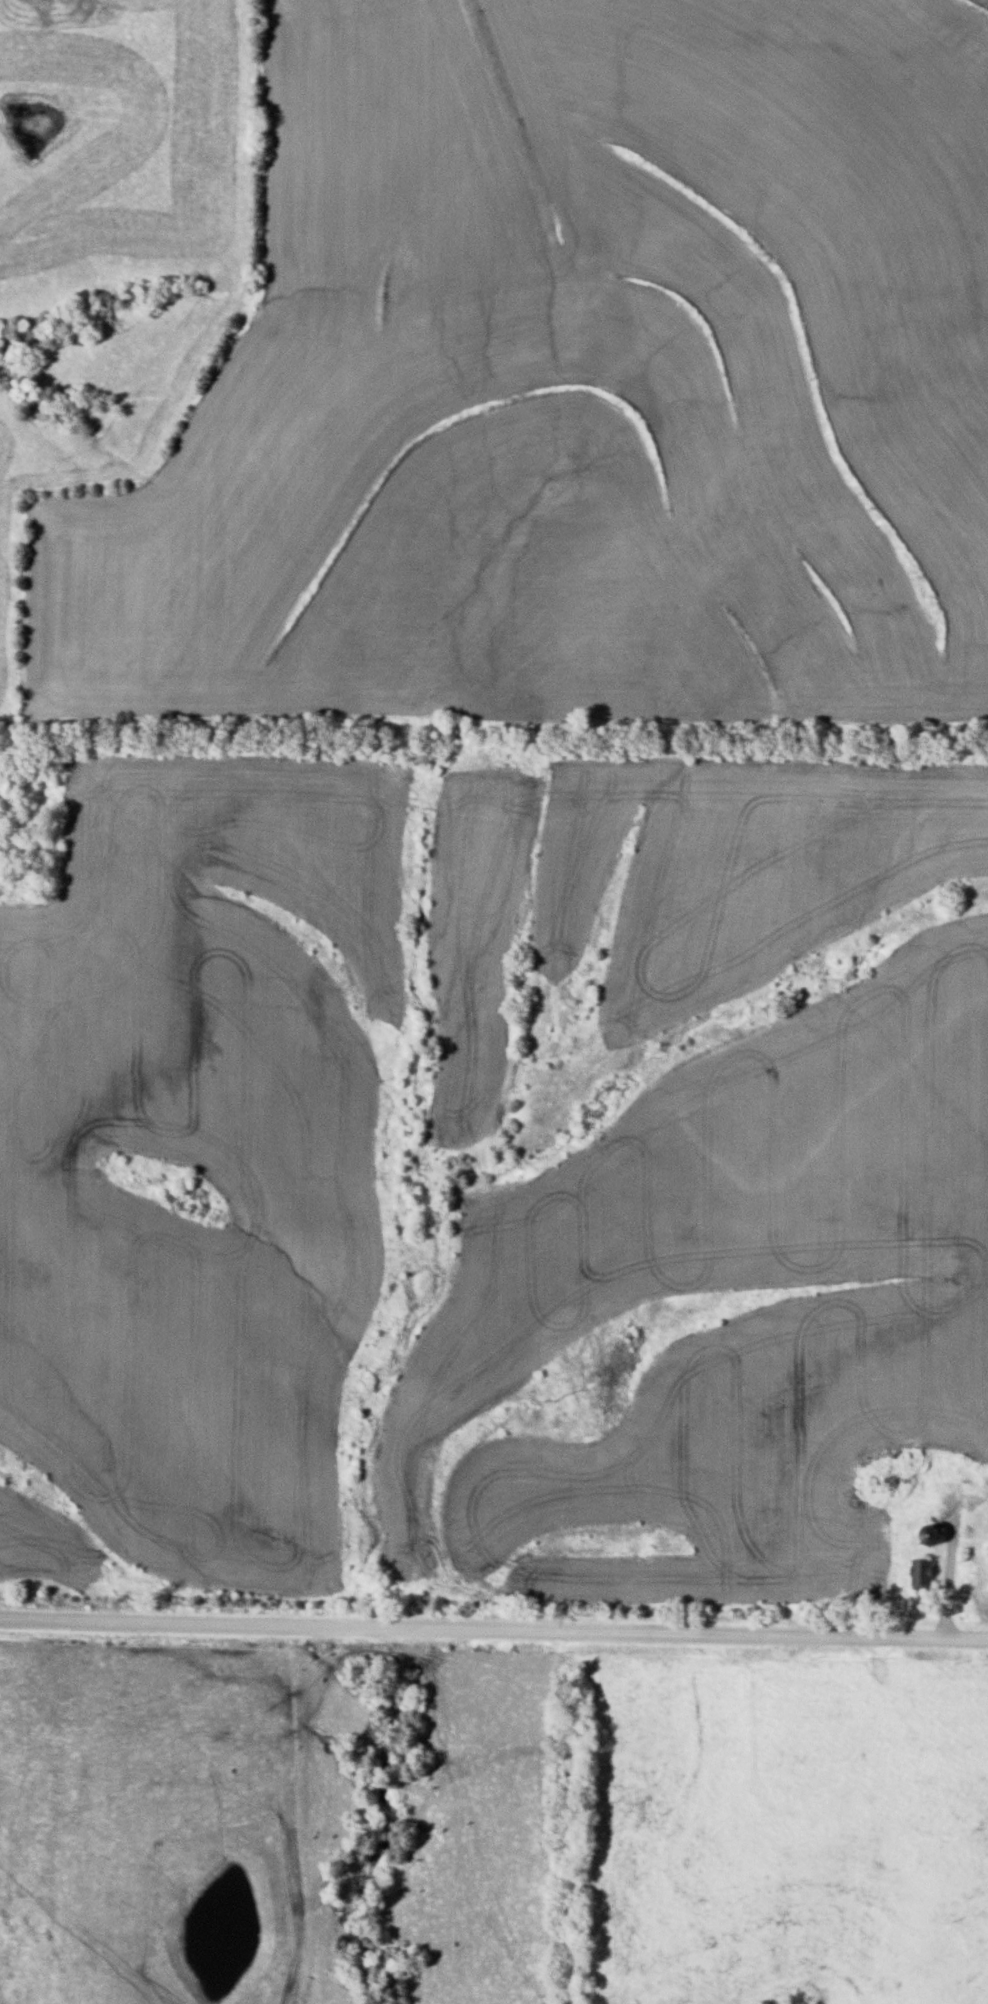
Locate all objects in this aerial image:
building: (917, 1570)
road: (493, 1626)

